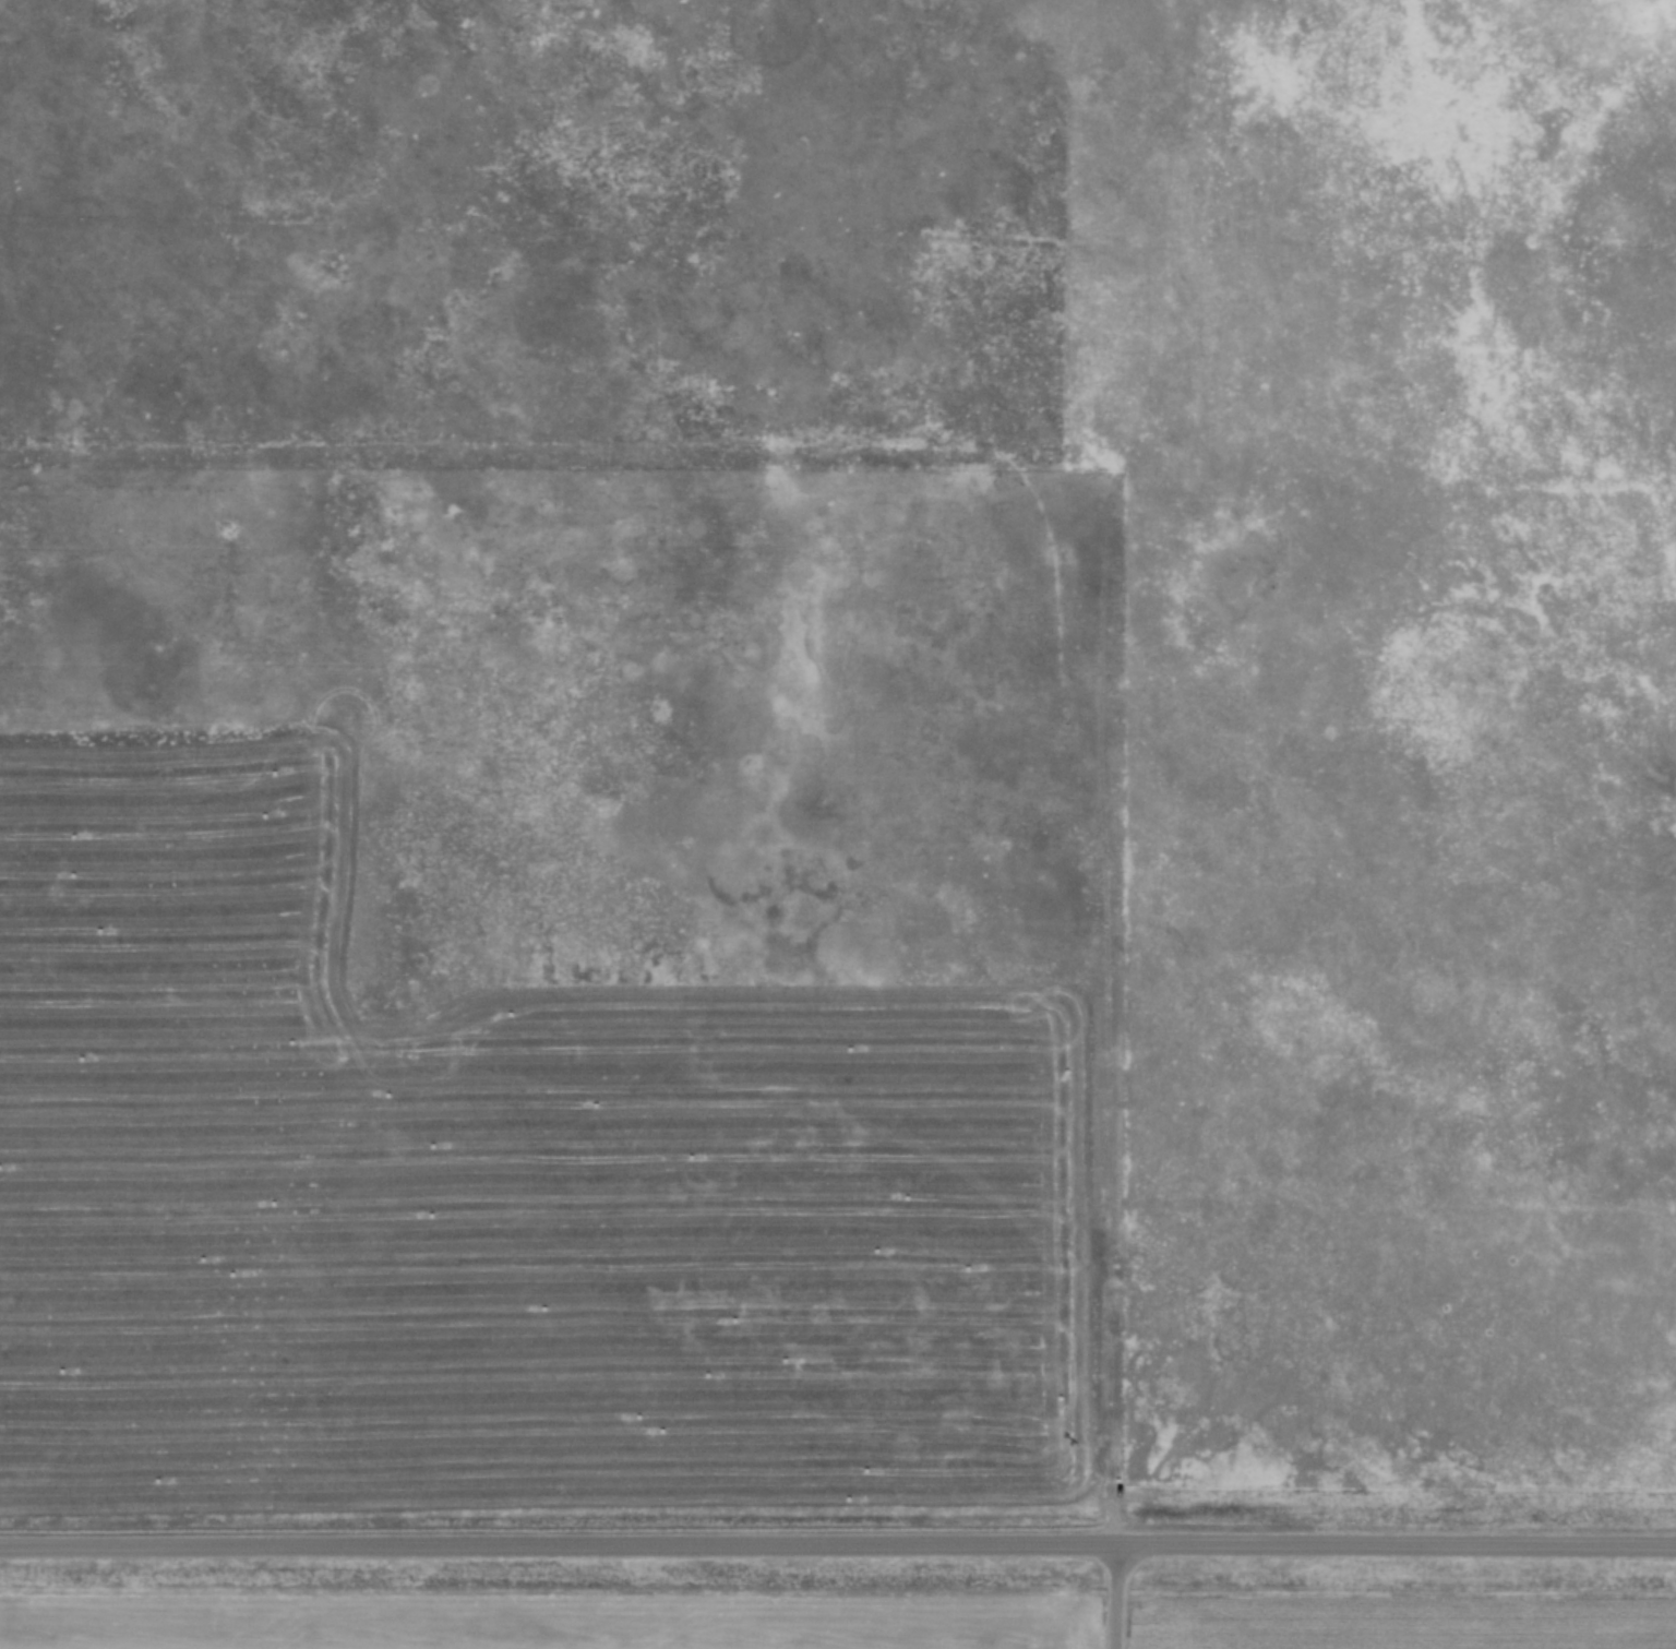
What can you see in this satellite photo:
road: (838, 1545)
road: (1132, 1597)

